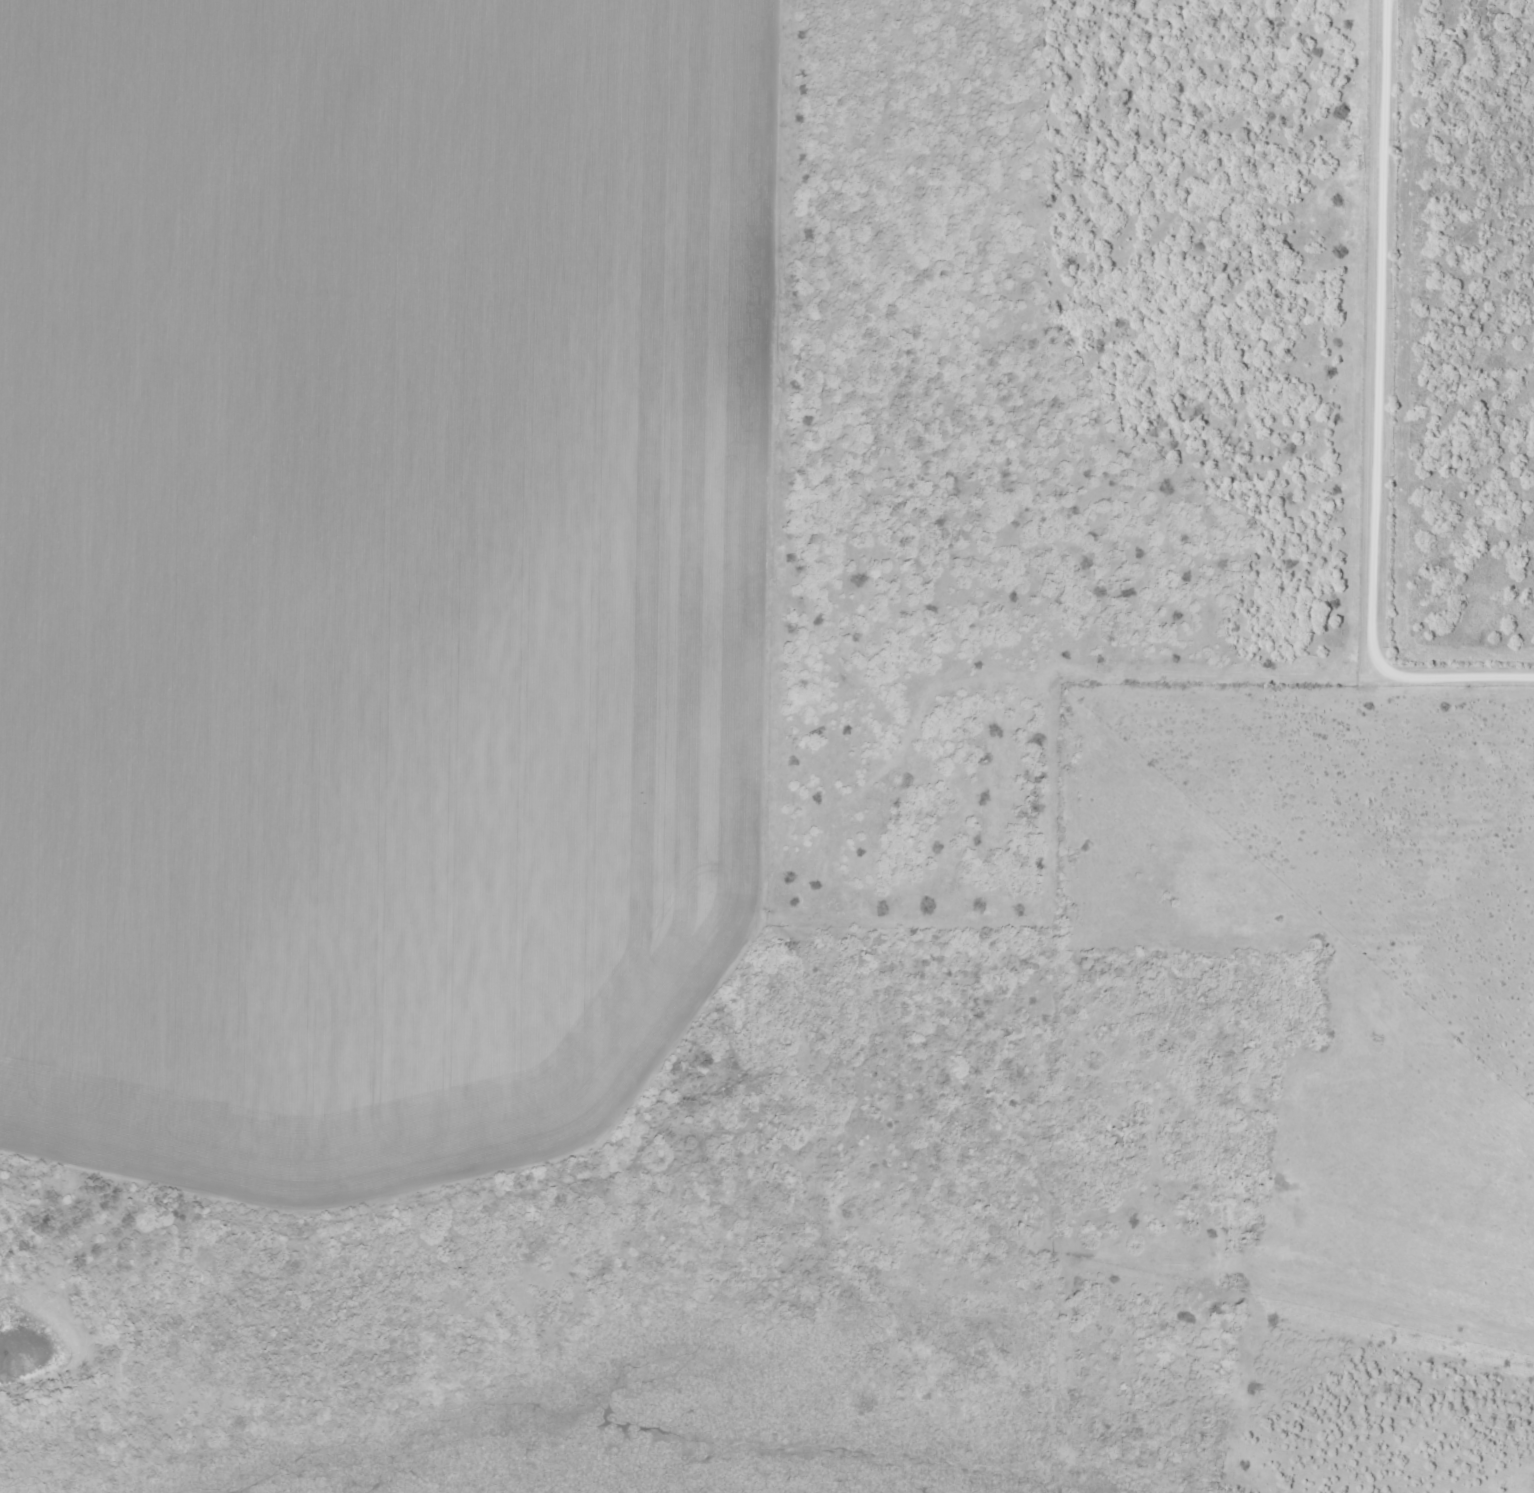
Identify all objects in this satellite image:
road: (1374, 414)

